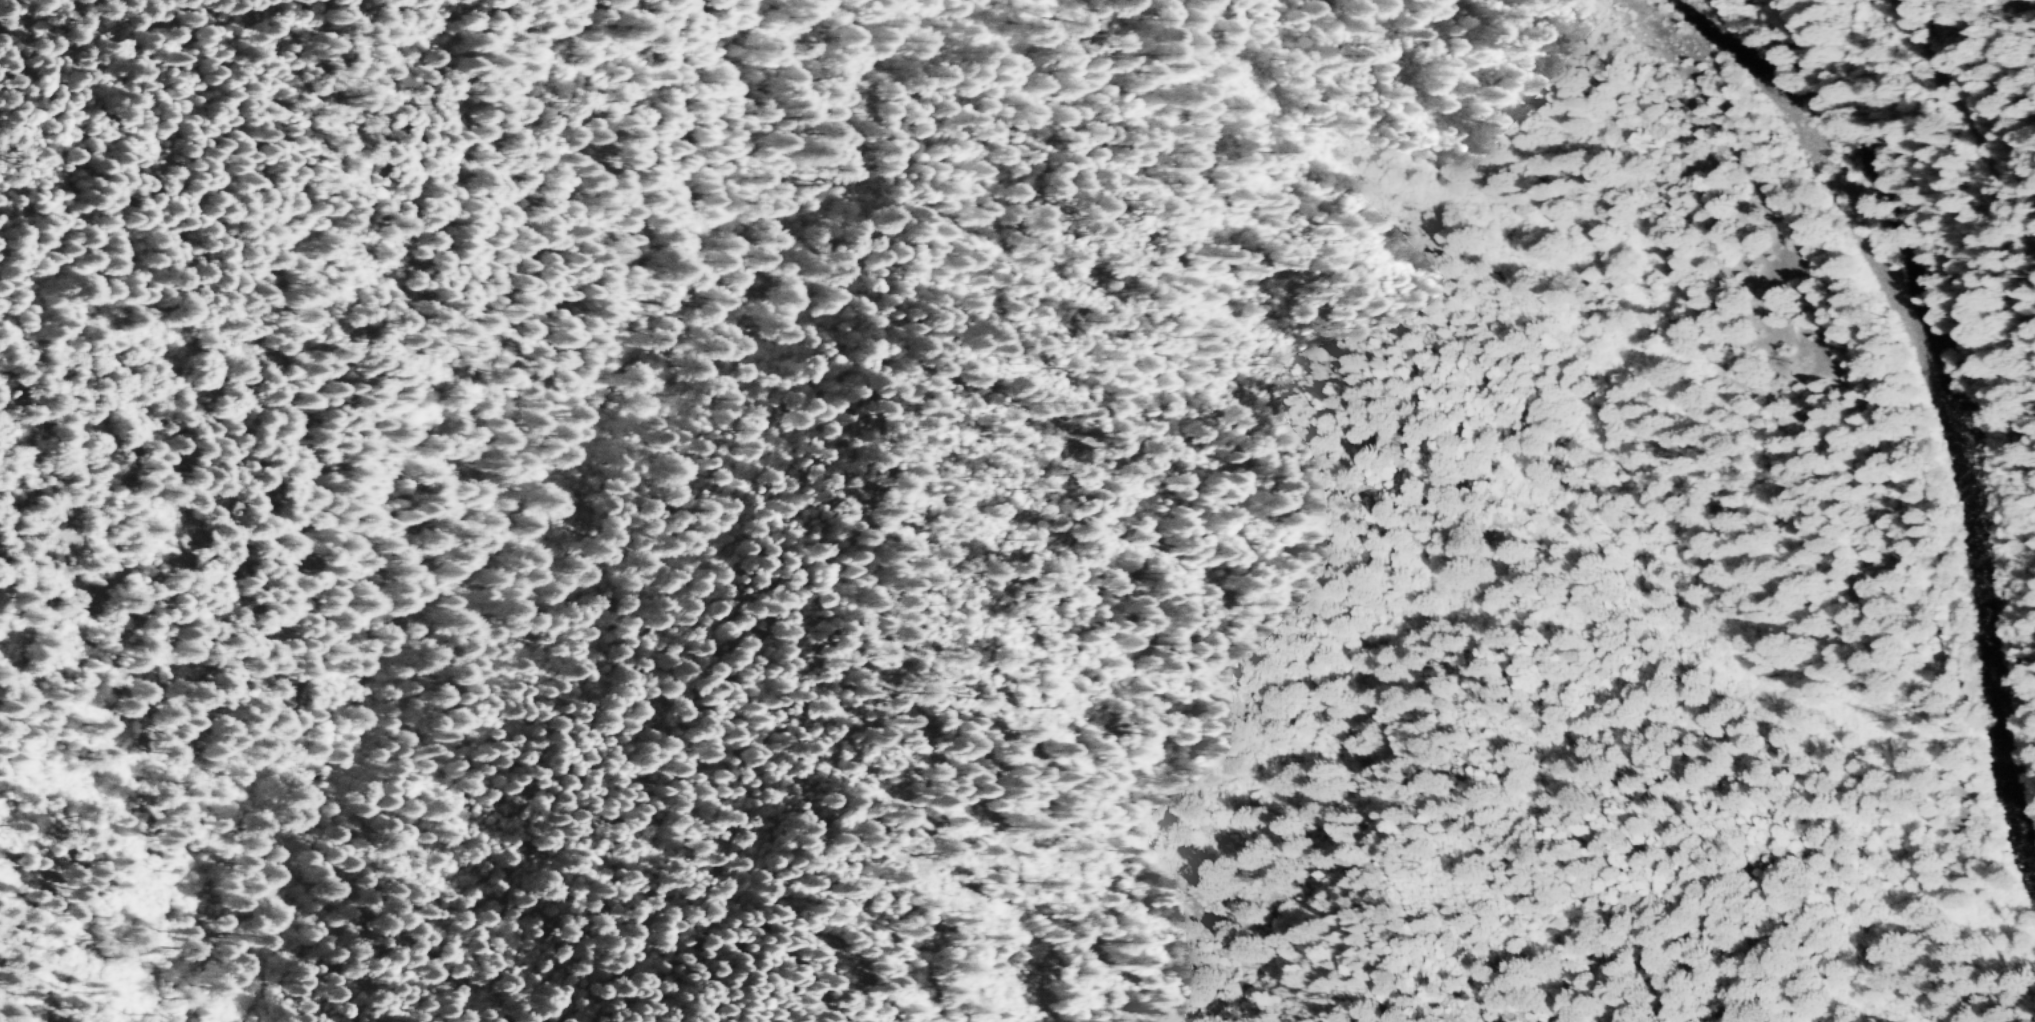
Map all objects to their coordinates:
road: (1967, 120)
river: (1954, 399)

